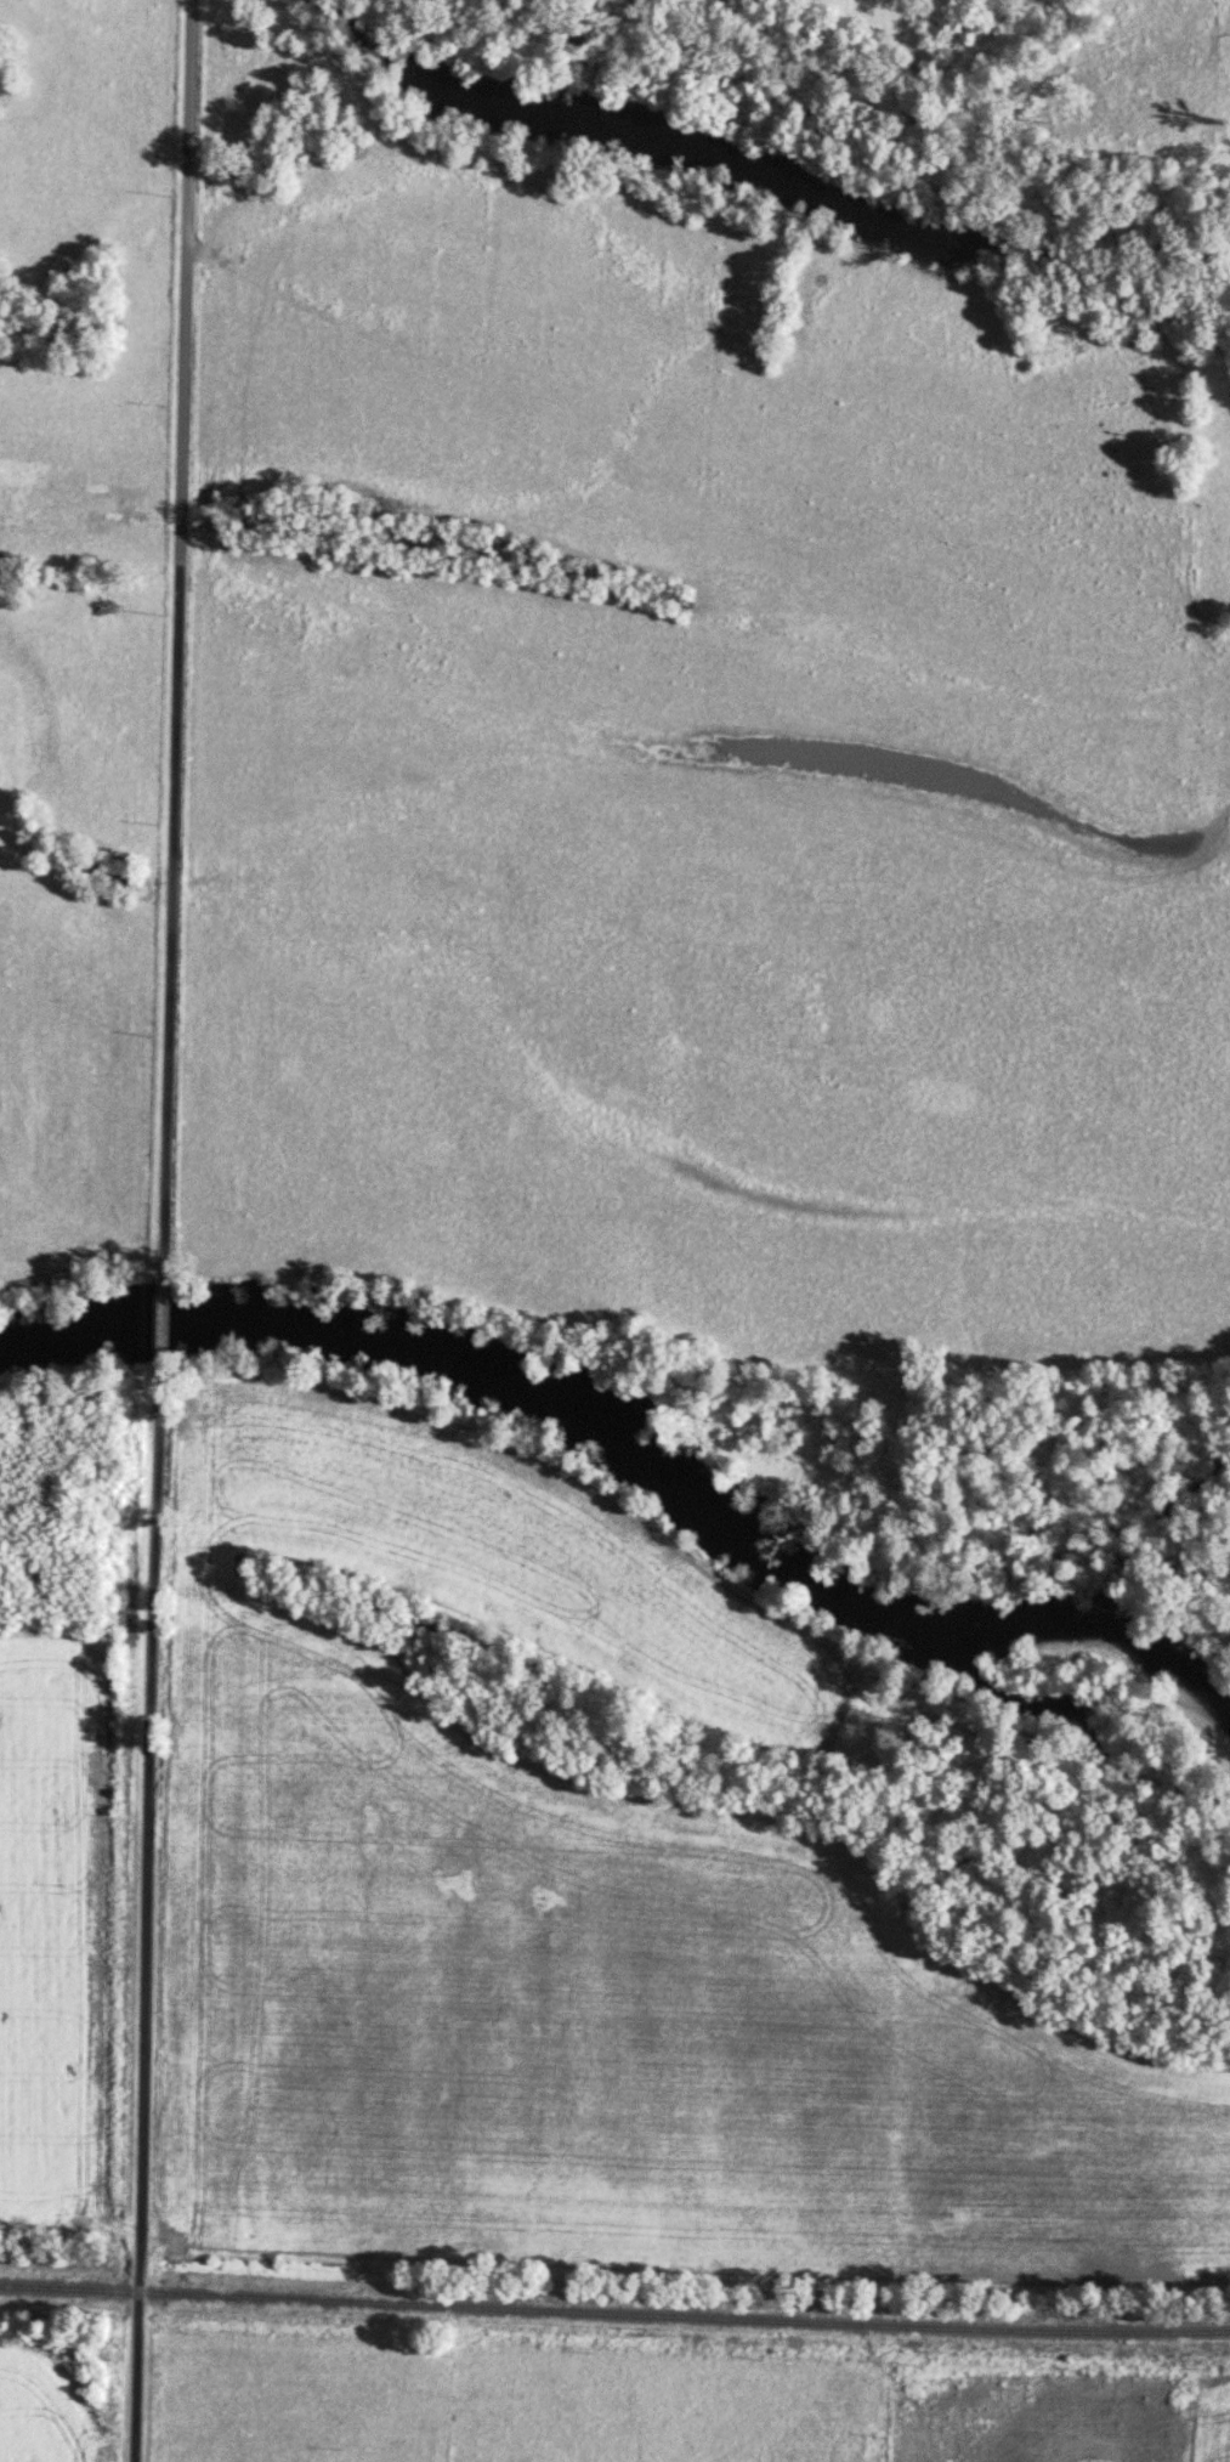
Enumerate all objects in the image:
road: (175, 639)
road: (160, 1320)
road: (147, 1912)
railway: (614, 2311)

